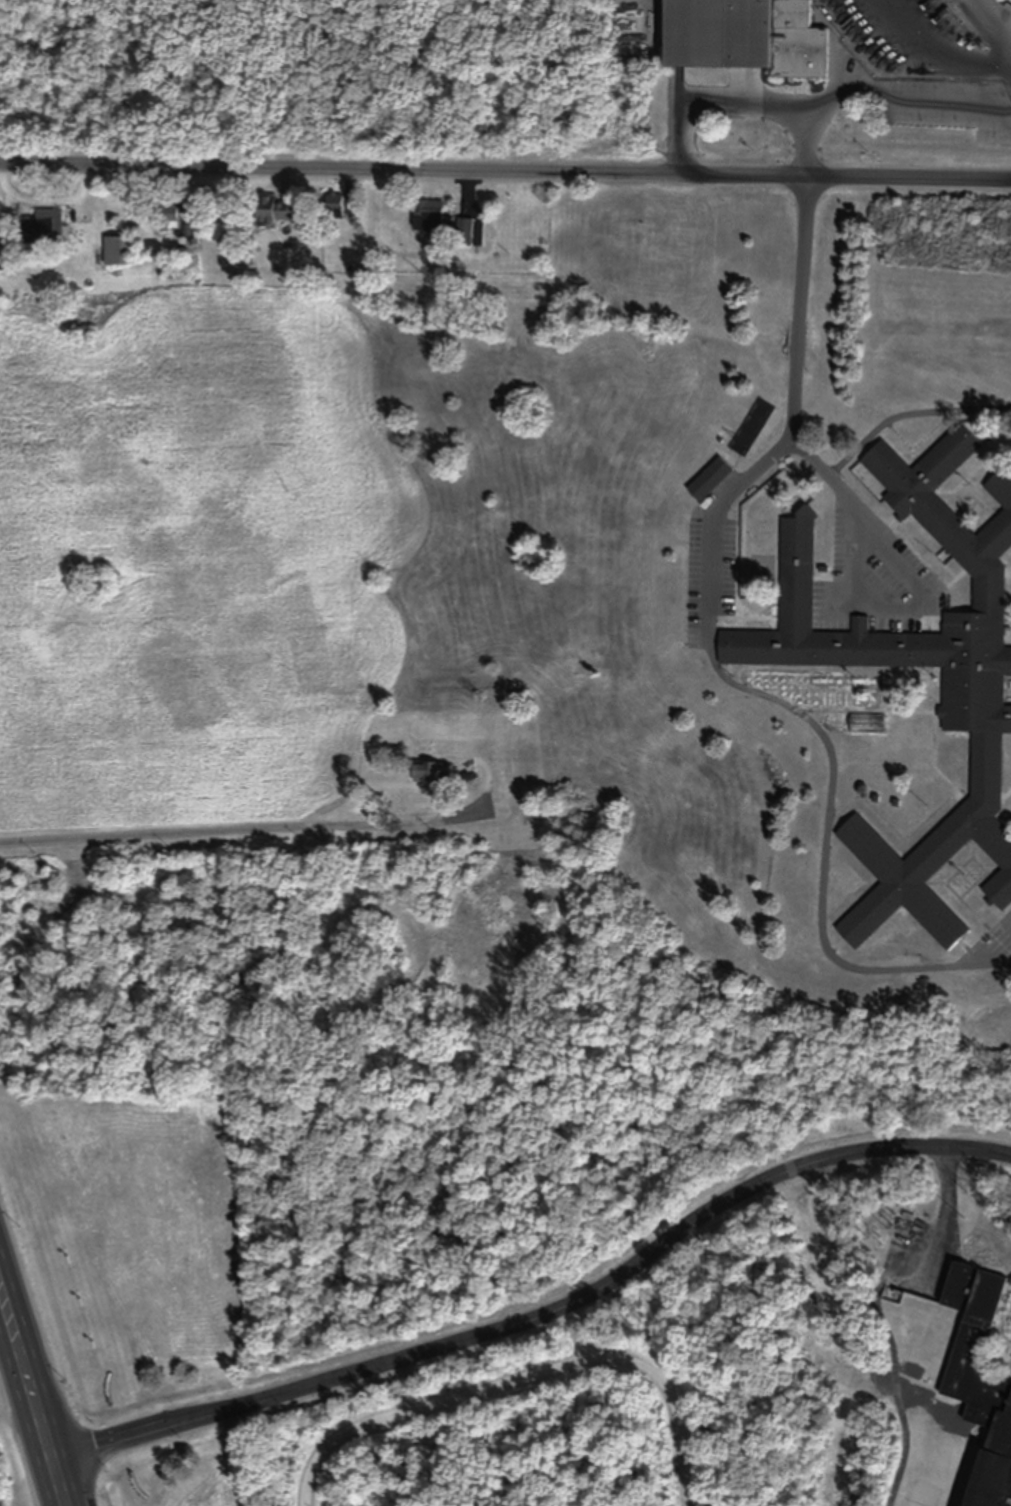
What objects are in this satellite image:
building: (747, 36)
road: (939, 48)
road: (897, 93)
road: (739, 100)
road: (505, 180)
building: (333, 207)
building: (271, 211)
building: (430, 215)
building: (169, 216)
building: (44, 228)
building: (120, 250)
building: (751, 426)
building: (709, 479)
road: (880, 544)
road: (720, 675)
building: (976, 686)
building: (430, 771)
road: (215, 831)
road: (543, 1319)
road: (589, 1331)
road: (7, 1342)
building: (985, 1366)
road: (26, 1379)
road: (529, 1382)
road: (15, 1417)
road: (57, 1486)

